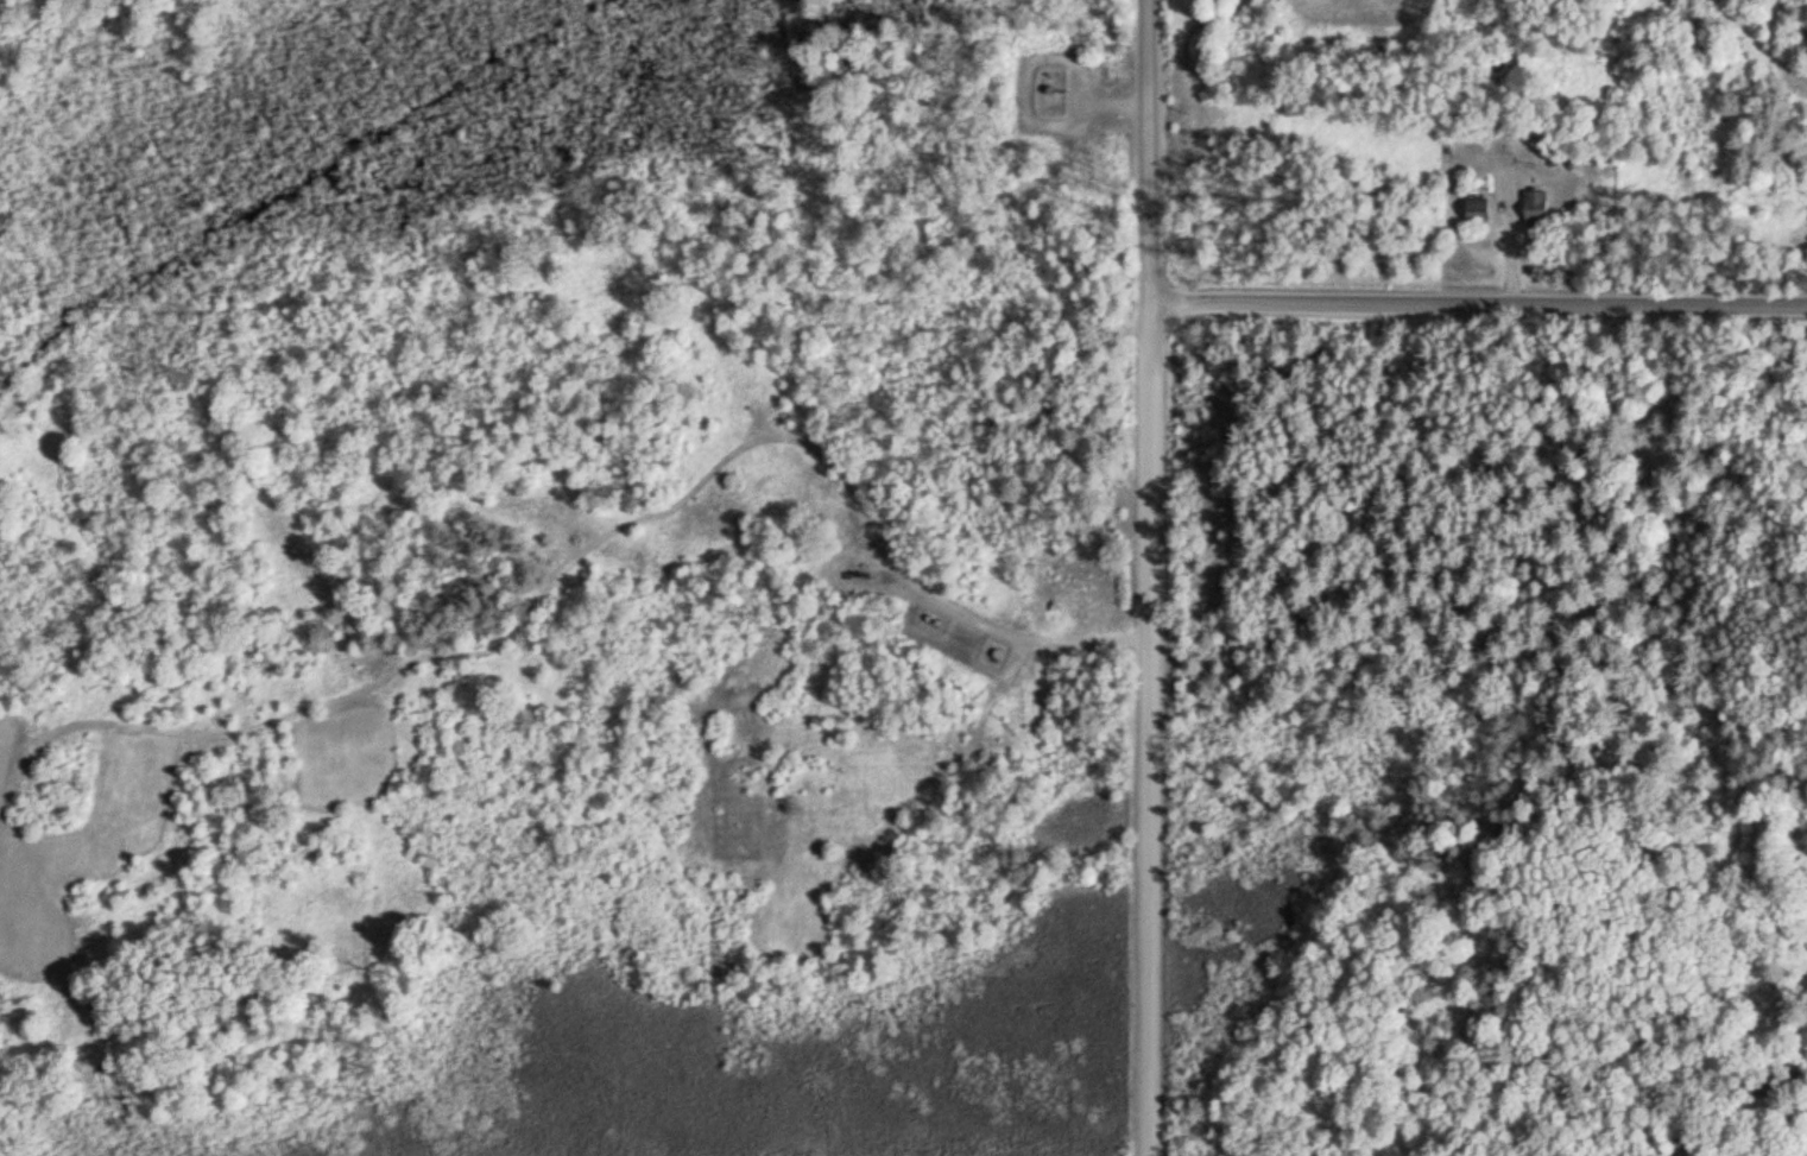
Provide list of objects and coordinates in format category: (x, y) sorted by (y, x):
building: (1536, 206)
building: (1478, 213)
road: (1483, 299)
petroleum well: (865, 575)
road: (1156, 577)

